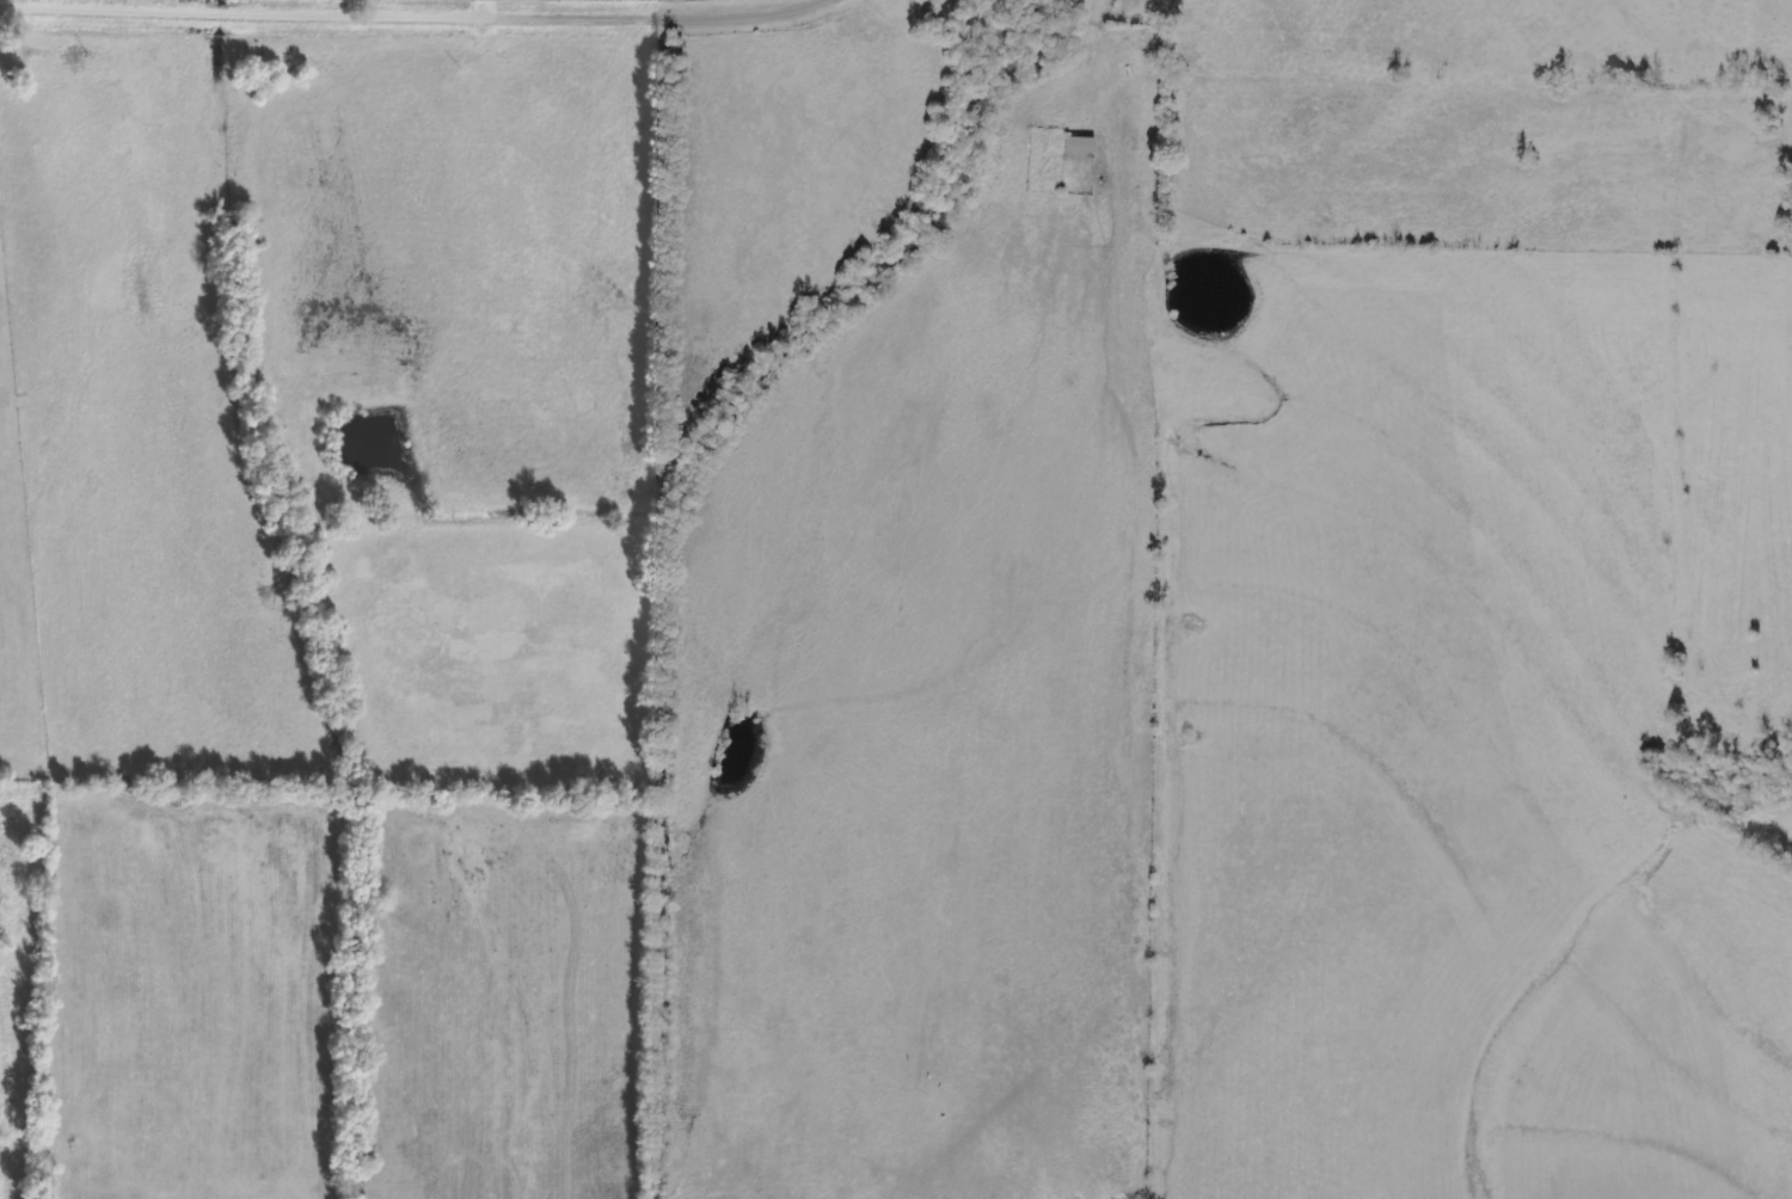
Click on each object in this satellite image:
road: (398, 13)
building: (1076, 147)

